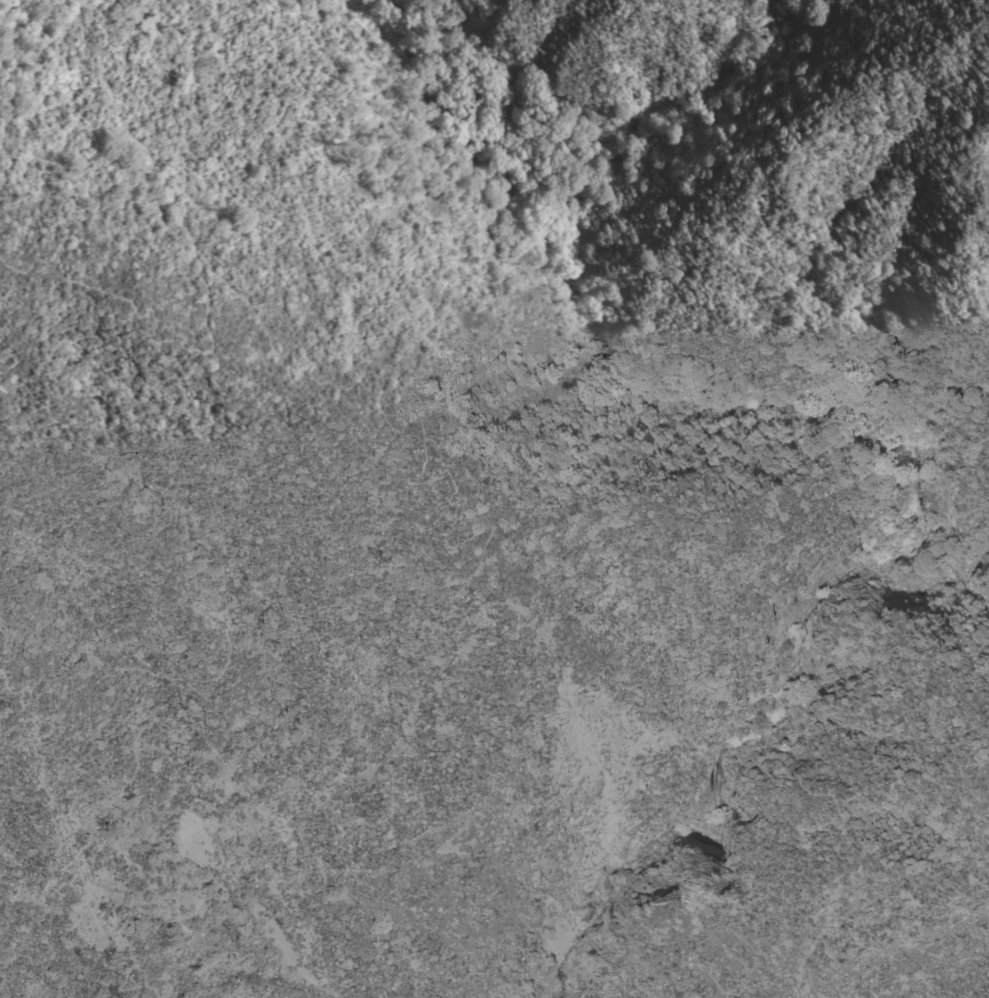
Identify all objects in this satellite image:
road: (418, 412)
road: (586, 494)
road: (947, 674)
road: (828, 804)
road: (116, 942)
road: (729, 959)
road: (474, 962)
road: (526, 962)

